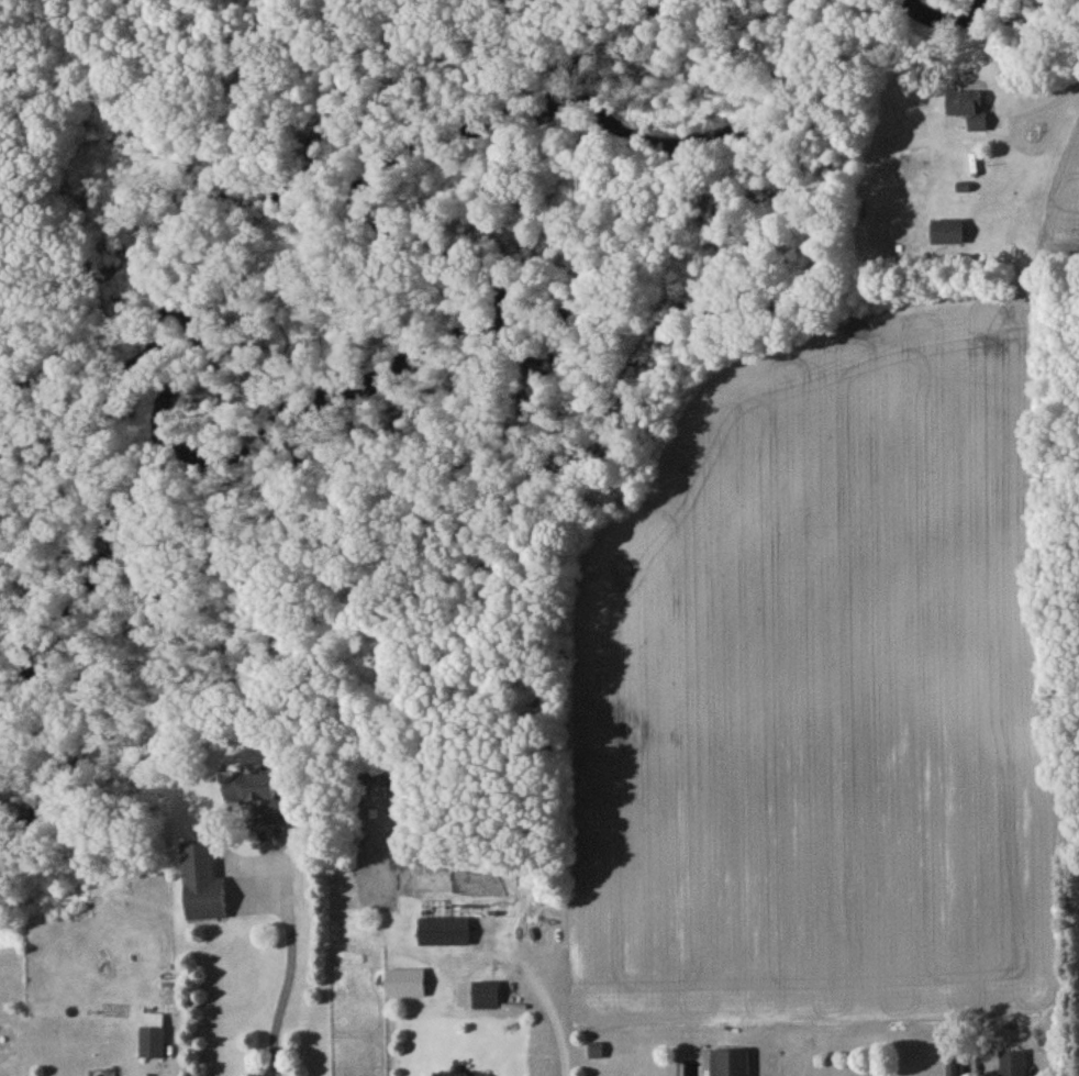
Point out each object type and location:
road: (1071, 99)
building: (970, 112)
building: (948, 235)
building: (259, 799)
building: (205, 902)
building: (444, 935)
road: (289, 978)
building: (486, 998)
road: (552, 1018)
building: (153, 1039)
building: (730, 1064)
building: (1012, 1065)
building: (950, 1072)
building: (459, 1075)

